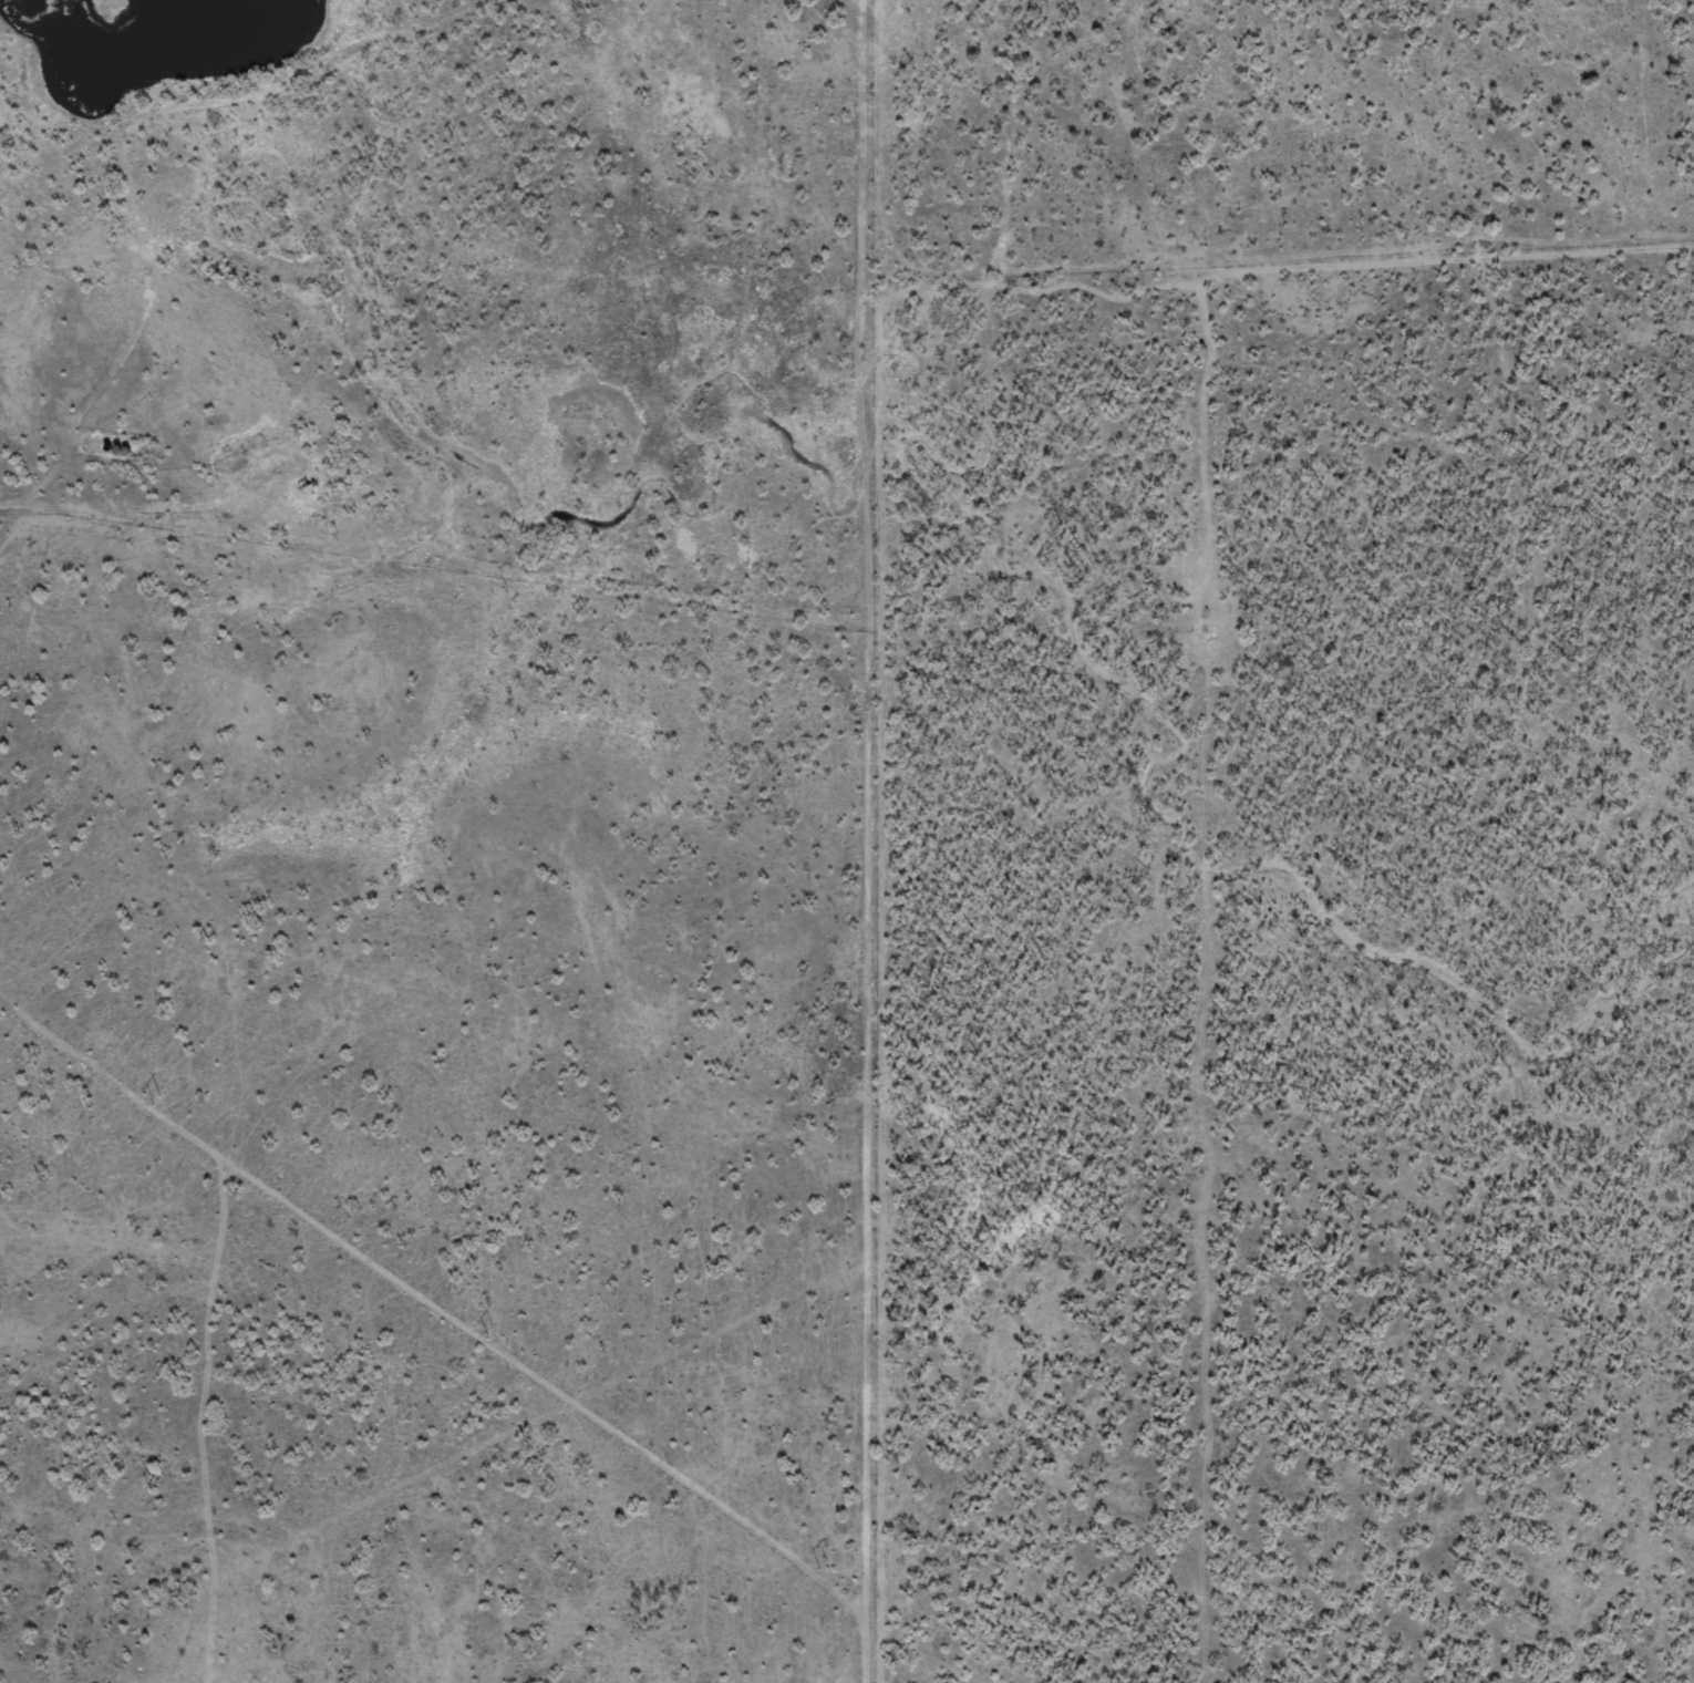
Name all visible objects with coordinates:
road: (798, 840)
power tower: (156, 1097)
power tower: (488, 1330)
power tower: (824, 1566)

